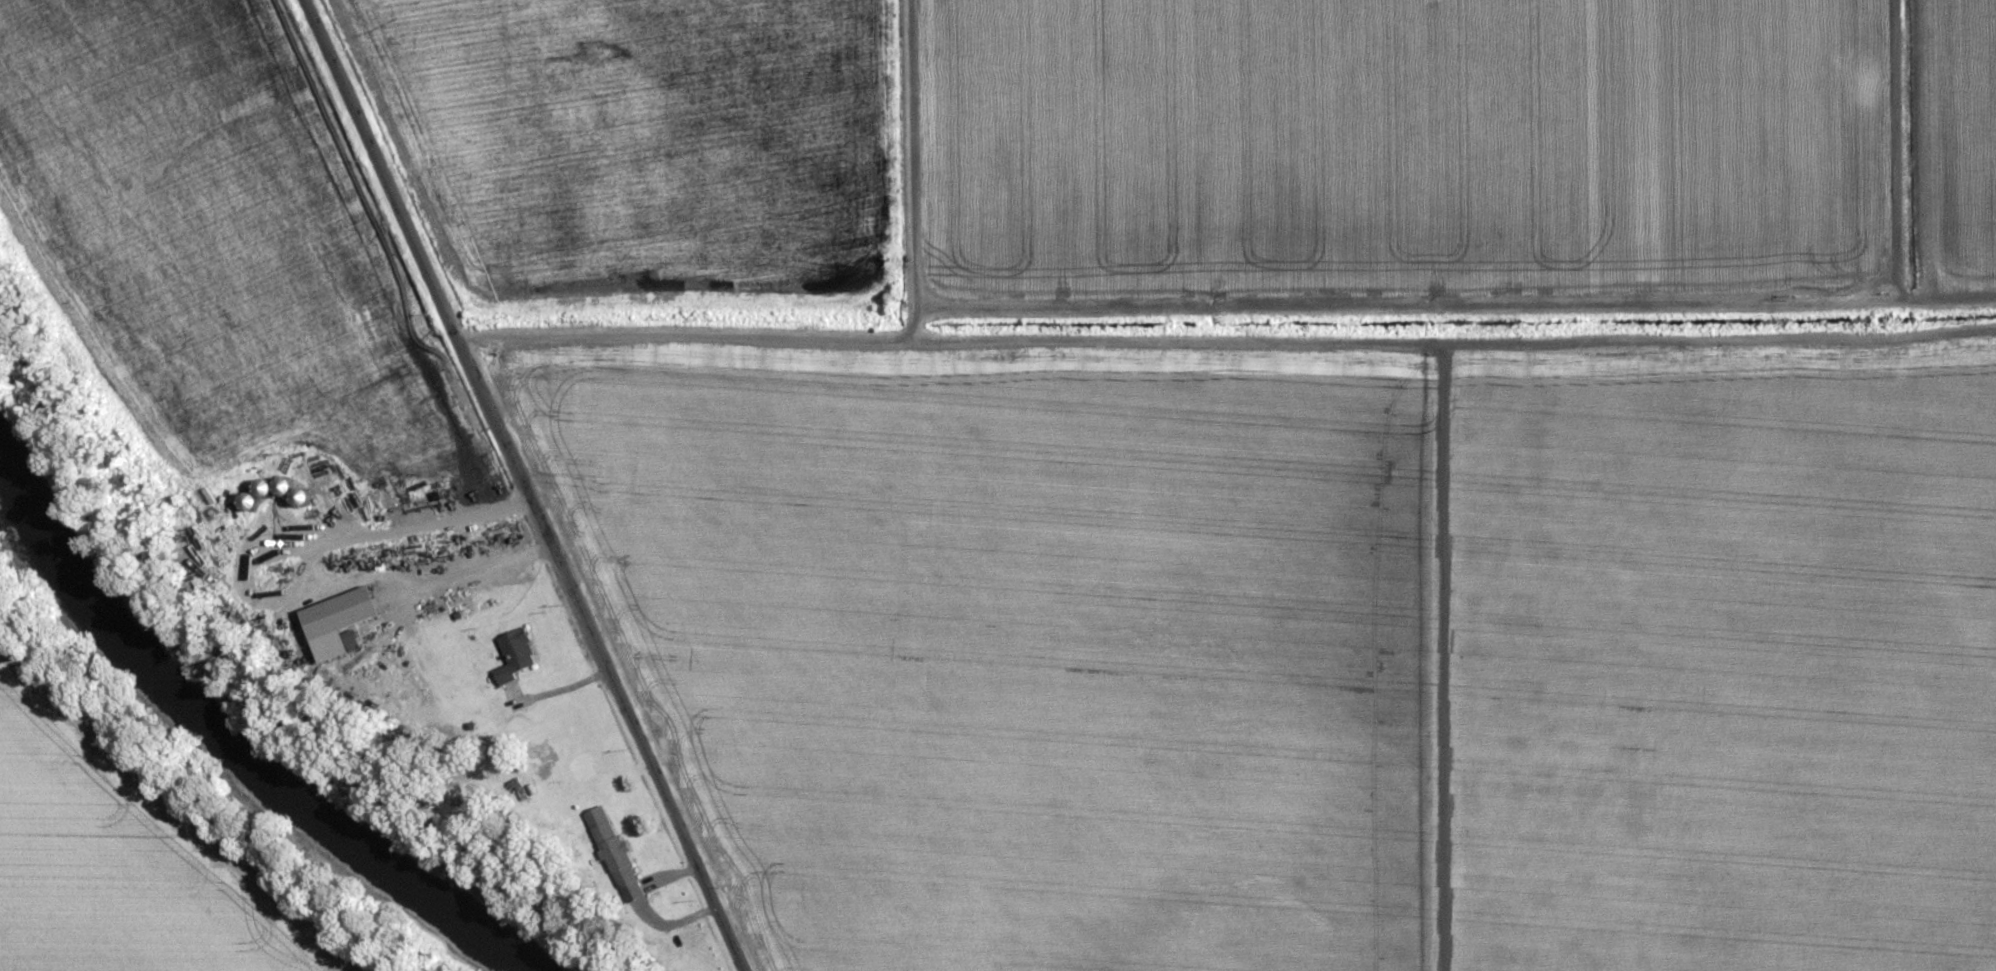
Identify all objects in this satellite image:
road: (519, 486)
building: (277, 491)
building: (488, 605)
building: (348, 641)
building: (514, 650)
building: (521, 787)
building: (616, 862)

